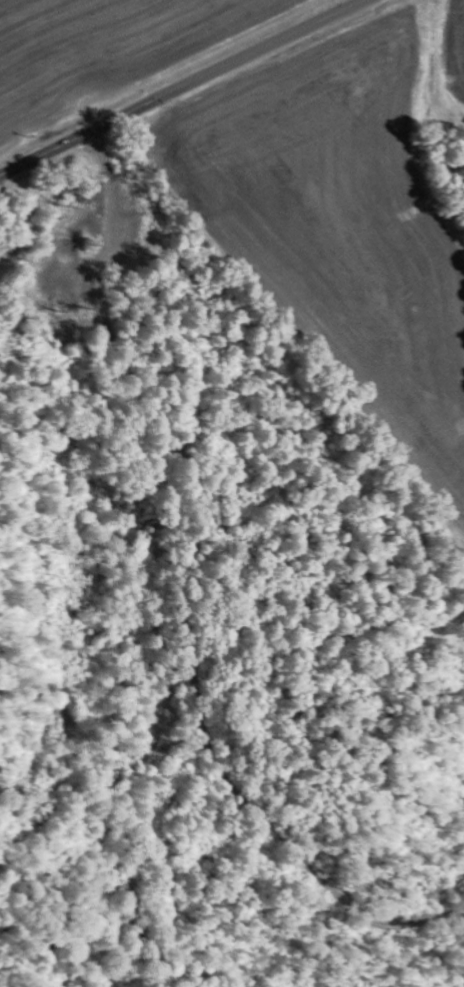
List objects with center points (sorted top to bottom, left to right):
road: (185, 86)

